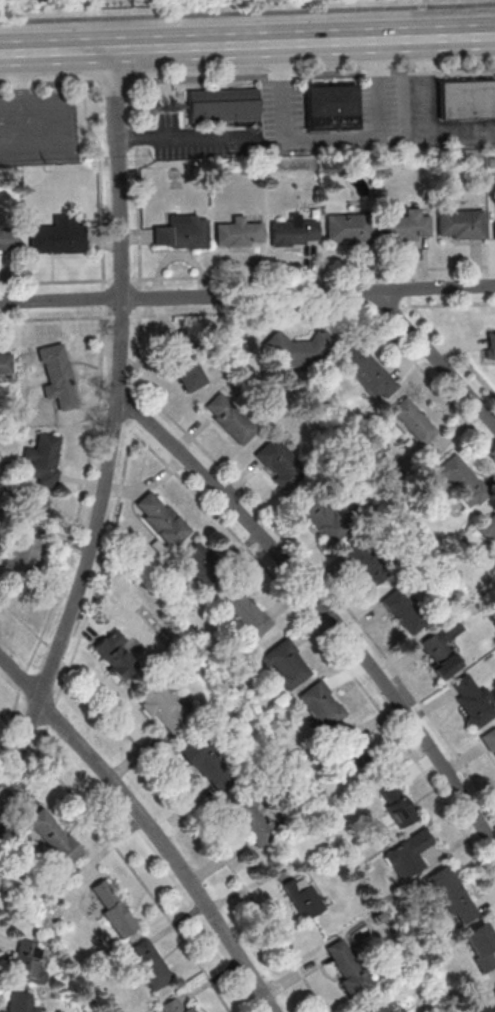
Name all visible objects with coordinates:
road: (247, 12)
road: (304, 44)
road: (57, 52)
road: (247, 75)
building: (465, 98)
building: (221, 105)
building: (330, 107)
road: (21, 108)
road: (417, 124)
road: (182, 135)
road: (332, 136)
road: (120, 174)
building: (459, 223)
building: (494, 224)
building: (406, 226)
building: (349, 228)
building: (181, 232)
building: (293, 232)
building: (239, 233)
building: (57, 236)
building: (7, 241)
road: (309, 293)
road: (62, 301)
building: (489, 345)
building: (294, 350)
road: (437, 359)
building: (183, 361)
building: (5, 366)
building: (367, 372)
building: (59, 377)
building: (229, 418)
building: (413, 420)
building: (43, 458)
building: (279, 462)
building: (461, 481)
building: (323, 516)
building: (160, 518)
building: (489, 528)
building: (23, 546)
building: (203, 563)
building: (364, 563)
road: (86, 568)
road: (322, 607)
building: (404, 610)
building: (247, 612)
building: (441, 648)
building: (114, 654)
building: (286, 664)
building: (473, 700)
building: (322, 704)
building: (162, 706)
building: (489, 740)
building: (350, 748)
building: (208, 764)
road: (176, 796)
building: (396, 802)
building: (251, 819)
road: (148, 826)
building: (54, 835)
road: (123, 853)
building: (409, 855)
building: (452, 895)
building: (304, 896)
building: (113, 907)
building: (481, 946)
building: (29, 961)
building: (151, 964)
building: (348, 967)
building: (21, 1002)
building: (486, 1003)
building: (178, 1005)
building: (377, 1006)

